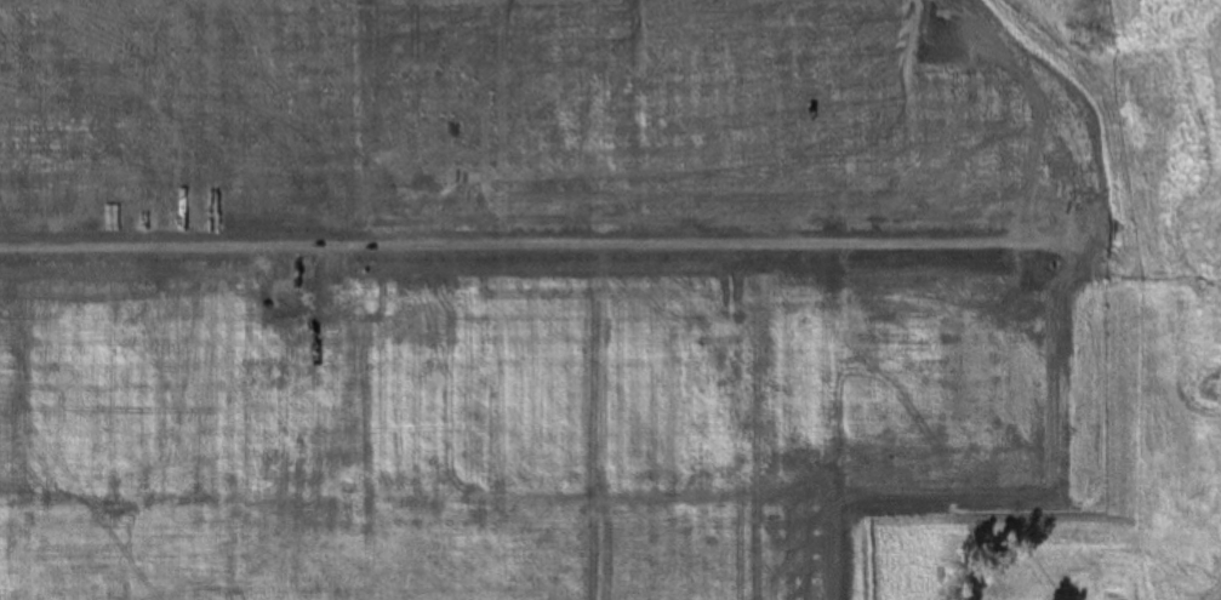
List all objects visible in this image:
road: (1220, 598)

